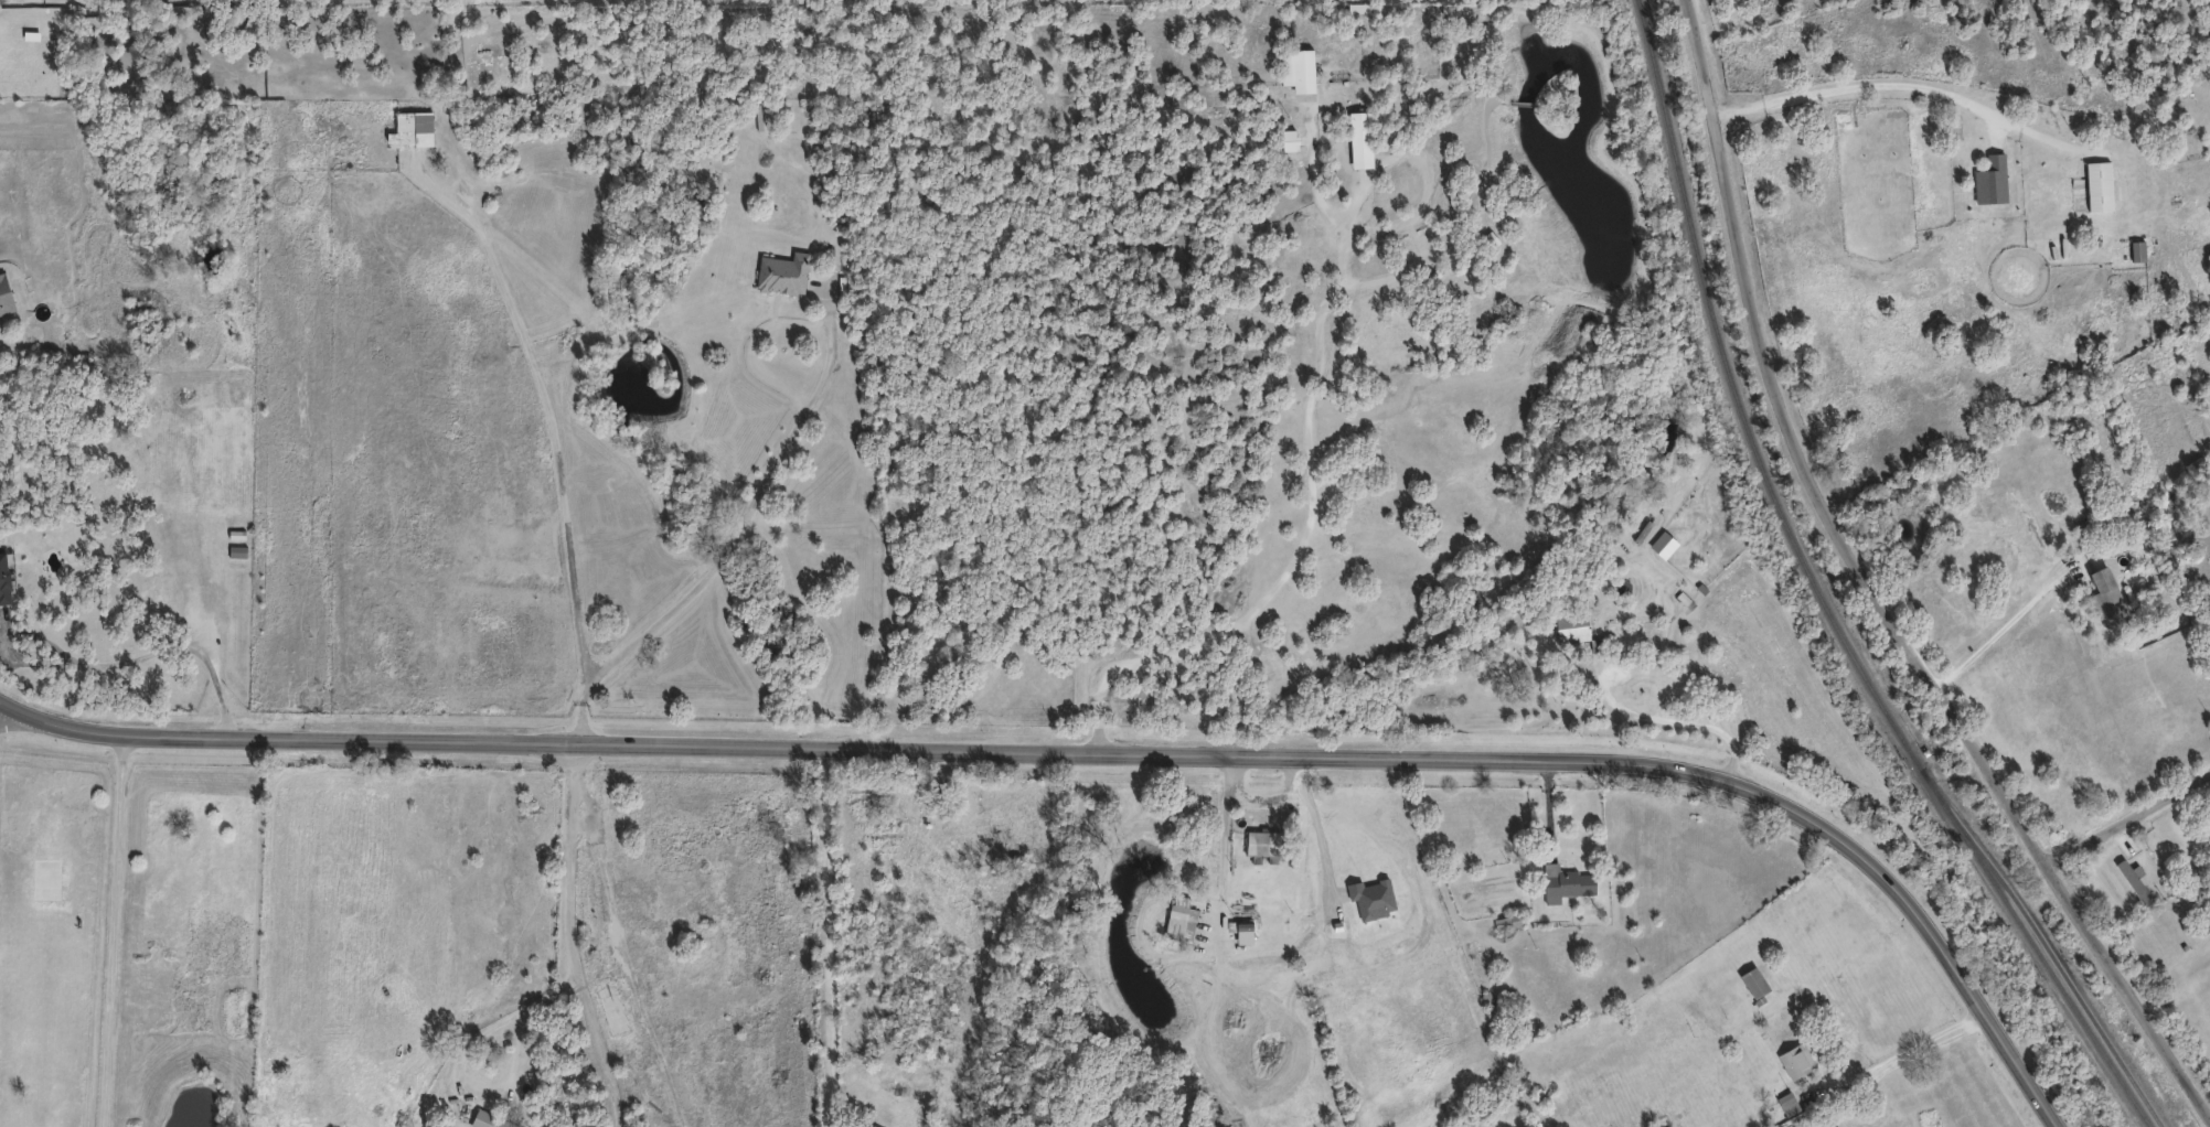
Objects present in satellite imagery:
building: (1295, 68)
road: (1877, 80)
building: (408, 129)
building: (1358, 139)
building: (1988, 180)
building: (2096, 185)
building: (1488, 239)
building: (2136, 250)
building: (781, 273)
building: (3, 298)
road: (1306, 425)
road: (730, 545)
building: (3, 573)
road: (1879, 586)
railway: (1819, 595)
building: (2104, 595)
building: (1570, 625)
road: (2006, 626)
road: (97, 666)
road: (1681, 724)
road: (15, 726)
road: (1106, 756)
road: (2132, 817)
building: (2209, 823)
building: (2209, 824)
road: (1318, 833)
building: (1260, 842)
road: (1225, 844)
building: (2133, 880)
building: (1563, 881)
building: (1507, 920)
building: (1173, 921)
road: (114, 930)
road: (575, 941)
road: (830, 941)
railway: (2053, 958)
building: (1752, 981)
road: (1898, 1055)
building: (1794, 1059)
road: (459, 1062)
building: (1786, 1103)
building: (487, 1120)
building: (1798, 1126)
building: (1835, 1126)
building: (1836, 1126)

